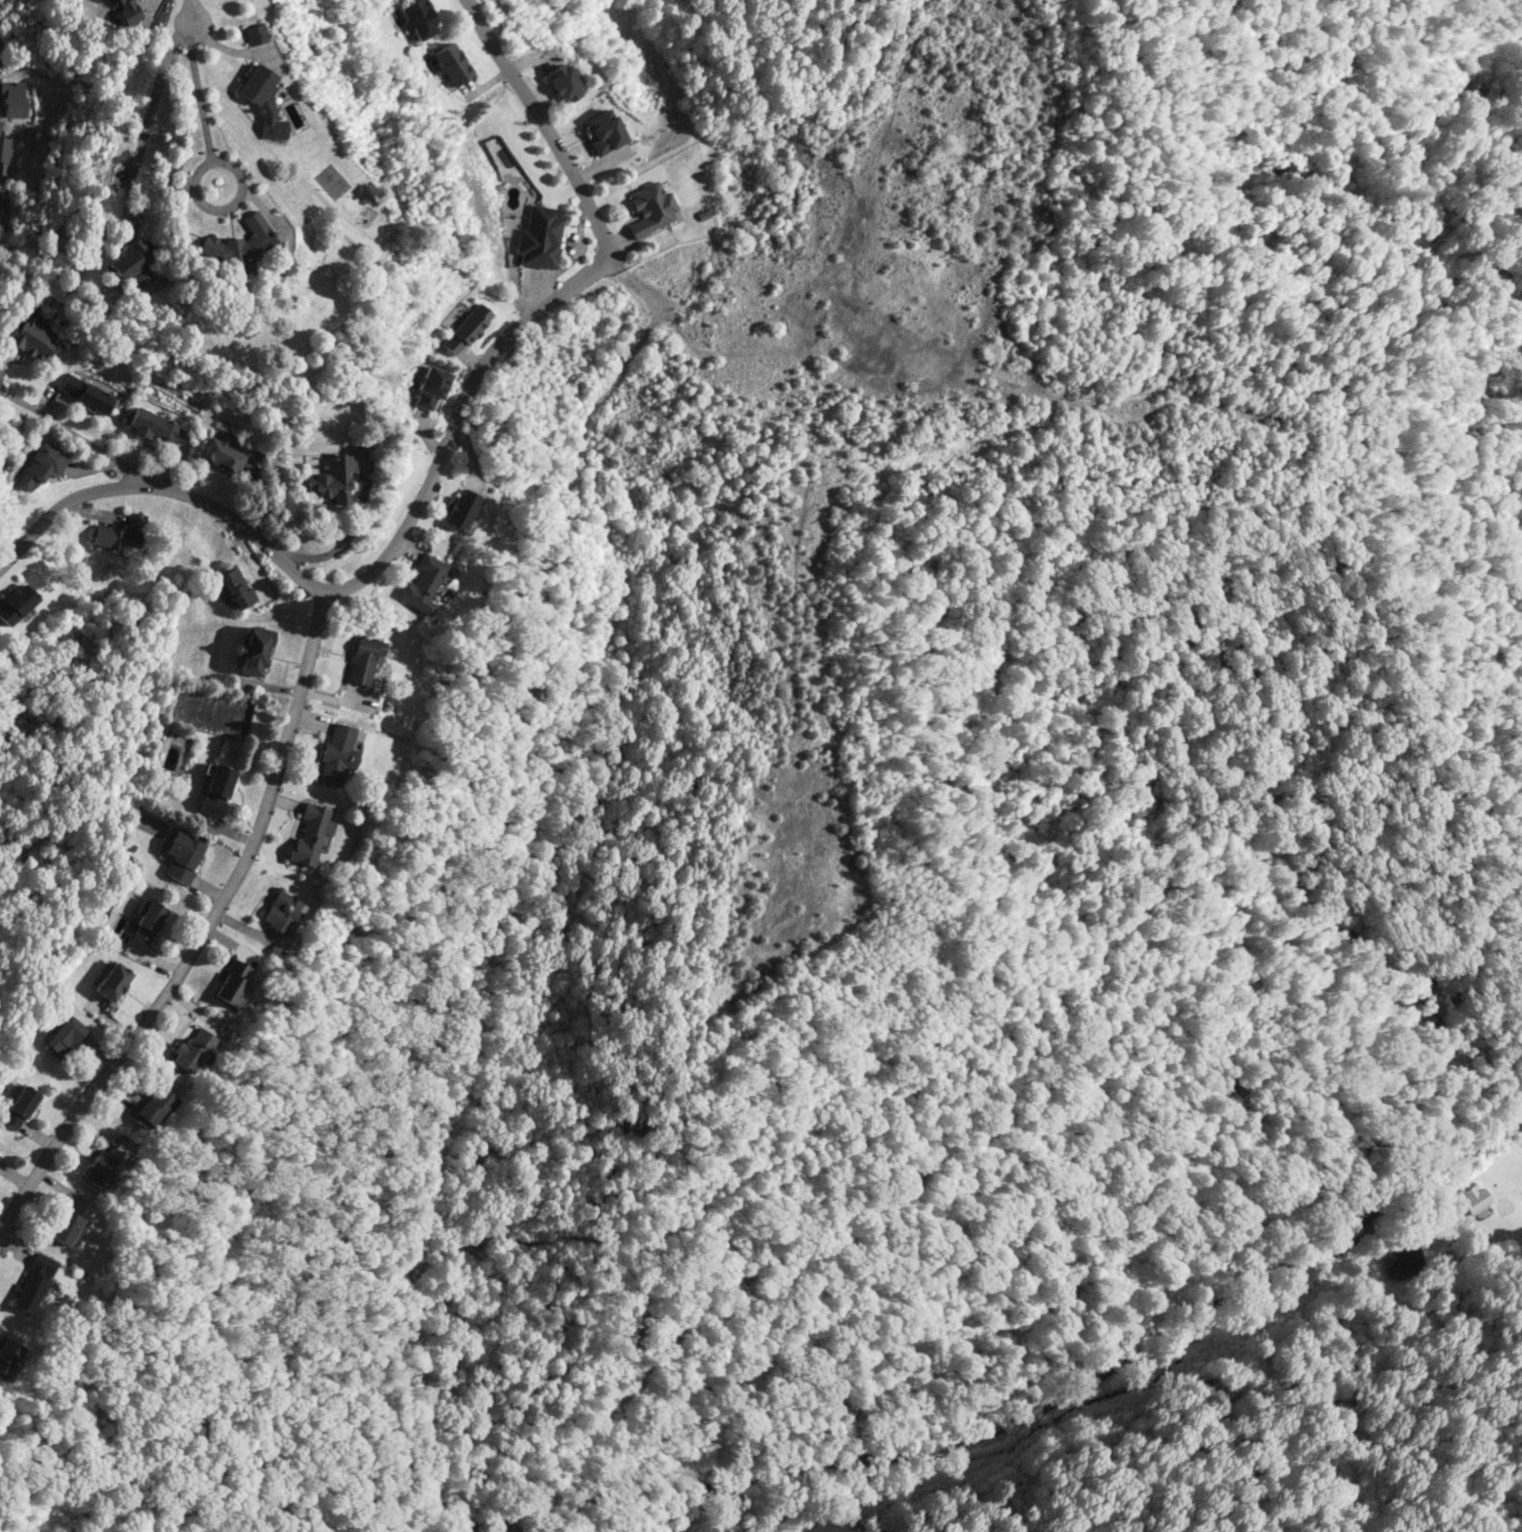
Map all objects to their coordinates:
building: (128, 11)
road: (191, 13)
building: (419, 19)
road: (187, 31)
building: (255, 33)
building: (451, 64)
building: (562, 83)
building: (11, 99)
building: (263, 101)
road: (542, 128)
building: (604, 131)
building: (3, 154)
road: (194, 175)
building: (650, 208)
building: (538, 236)
building: (240, 244)
building: (132, 262)
building: (465, 329)
building: (31, 337)
building: (430, 386)
building: (84, 393)
building: (149, 424)
road: (73, 435)
building: (224, 454)
building: (39, 466)
building: (332, 478)
building: (461, 510)
building: (119, 535)
building: (421, 584)
road: (360, 588)
building: (235, 589)
building: (14, 604)
building: (253, 650)
building: (363, 659)
building: (336, 754)
building: (215, 790)
building: (309, 834)
building: (182, 856)
road: (534, 878)
building: (279, 911)
building: (146, 919)
road: (208, 937)
building: (112, 981)
building: (232, 983)
building: (64, 1035)
building: (191, 1050)
building: (150, 1107)
building: (102, 1167)
building: (1474, 1199)
building: (66, 1228)
building: (1402, 1261)
building: (33, 1283)
building: (7, 1355)
road: (1094, 1379)

